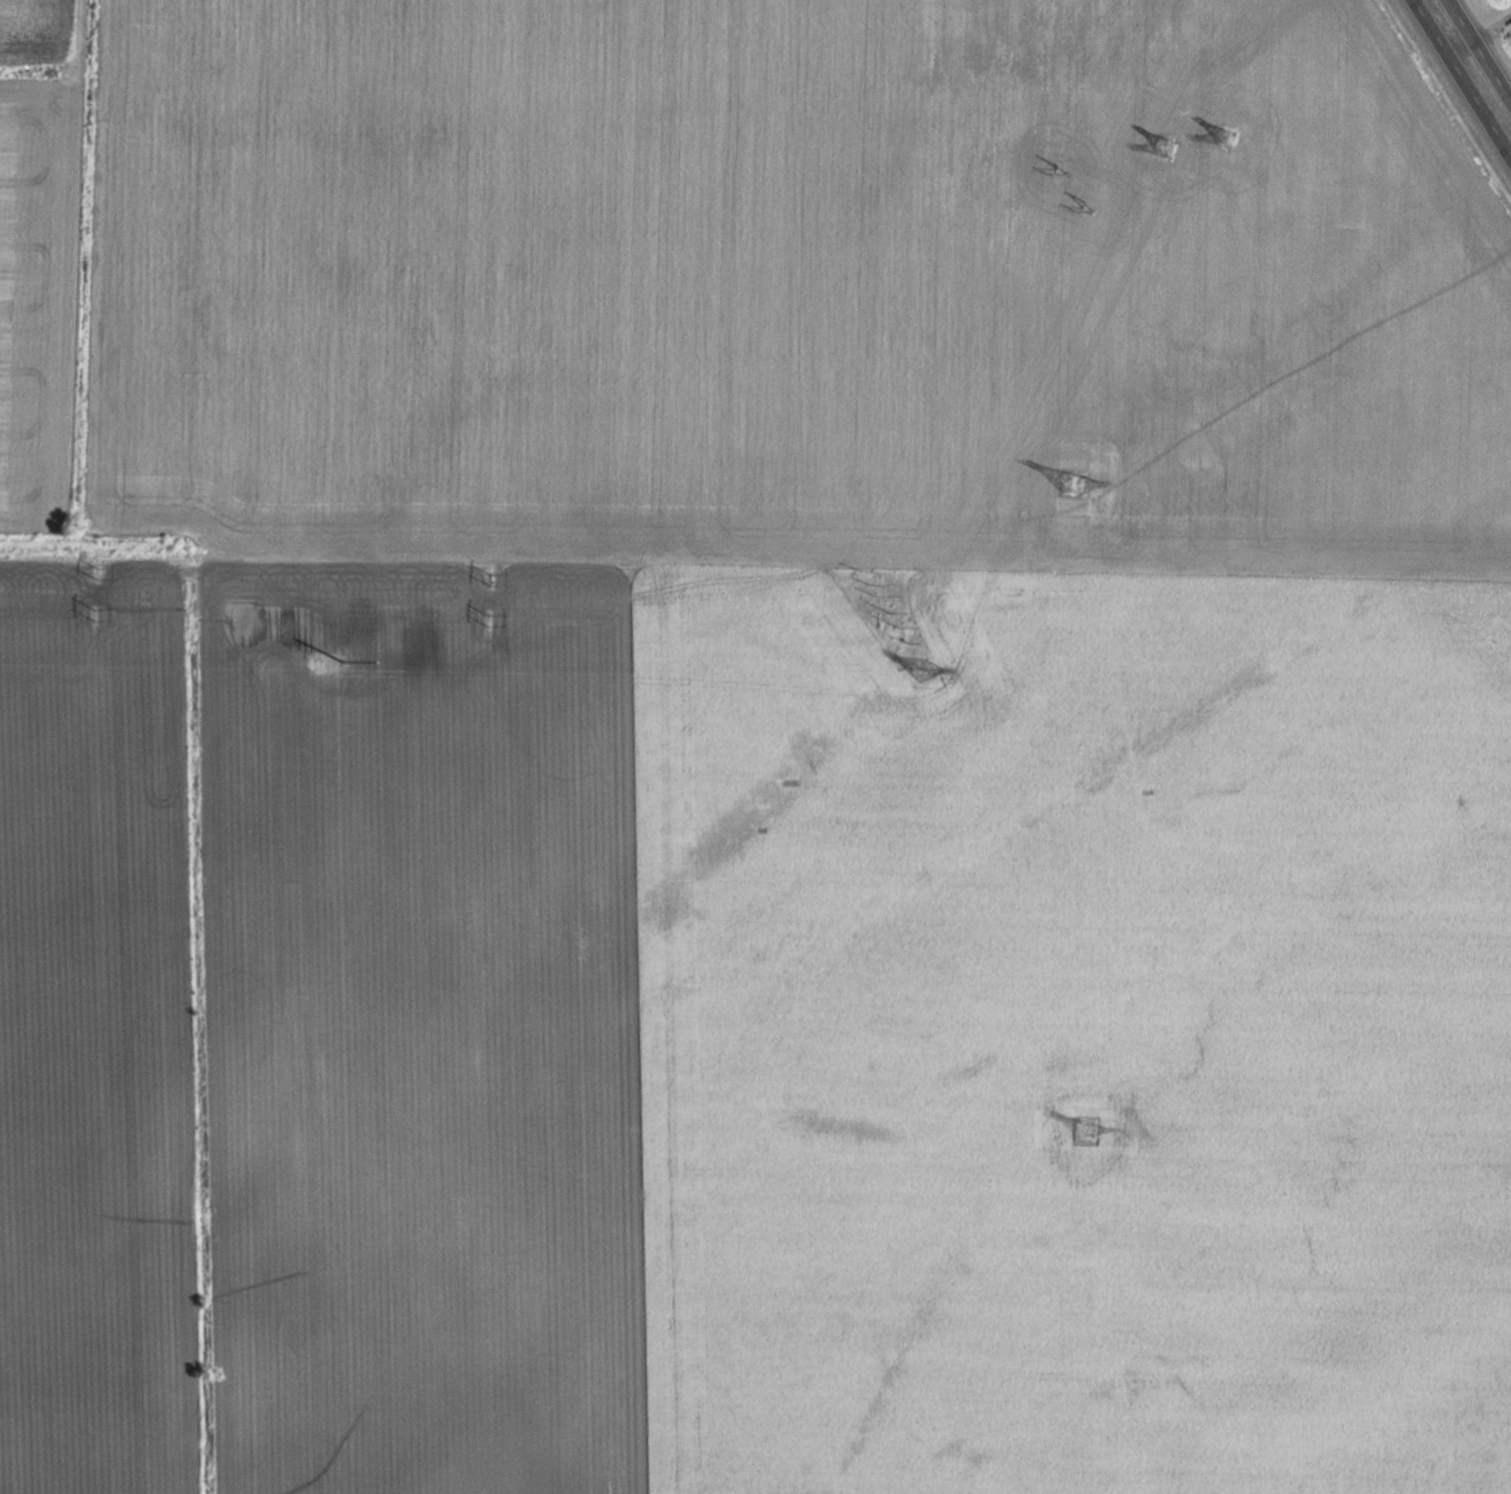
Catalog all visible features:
road: (1483, 44)
road: (1461, 78)
power tower: (1225, 138)
power tower: (1166, 145)
power tower: (1060, 171)
power tower: (1087, 210)
building: (1069, 483)
power tower: (1072, 485)
power tower: (99, 575)
power tower: (490, 577)
power tower: (865, 577)
power tower: (96, 616)
power tower: (489, 620)
power tower: (893, 624)
power tower: (314, 662)
power tower: (922, 675)
power tower: (1087, 1130)

